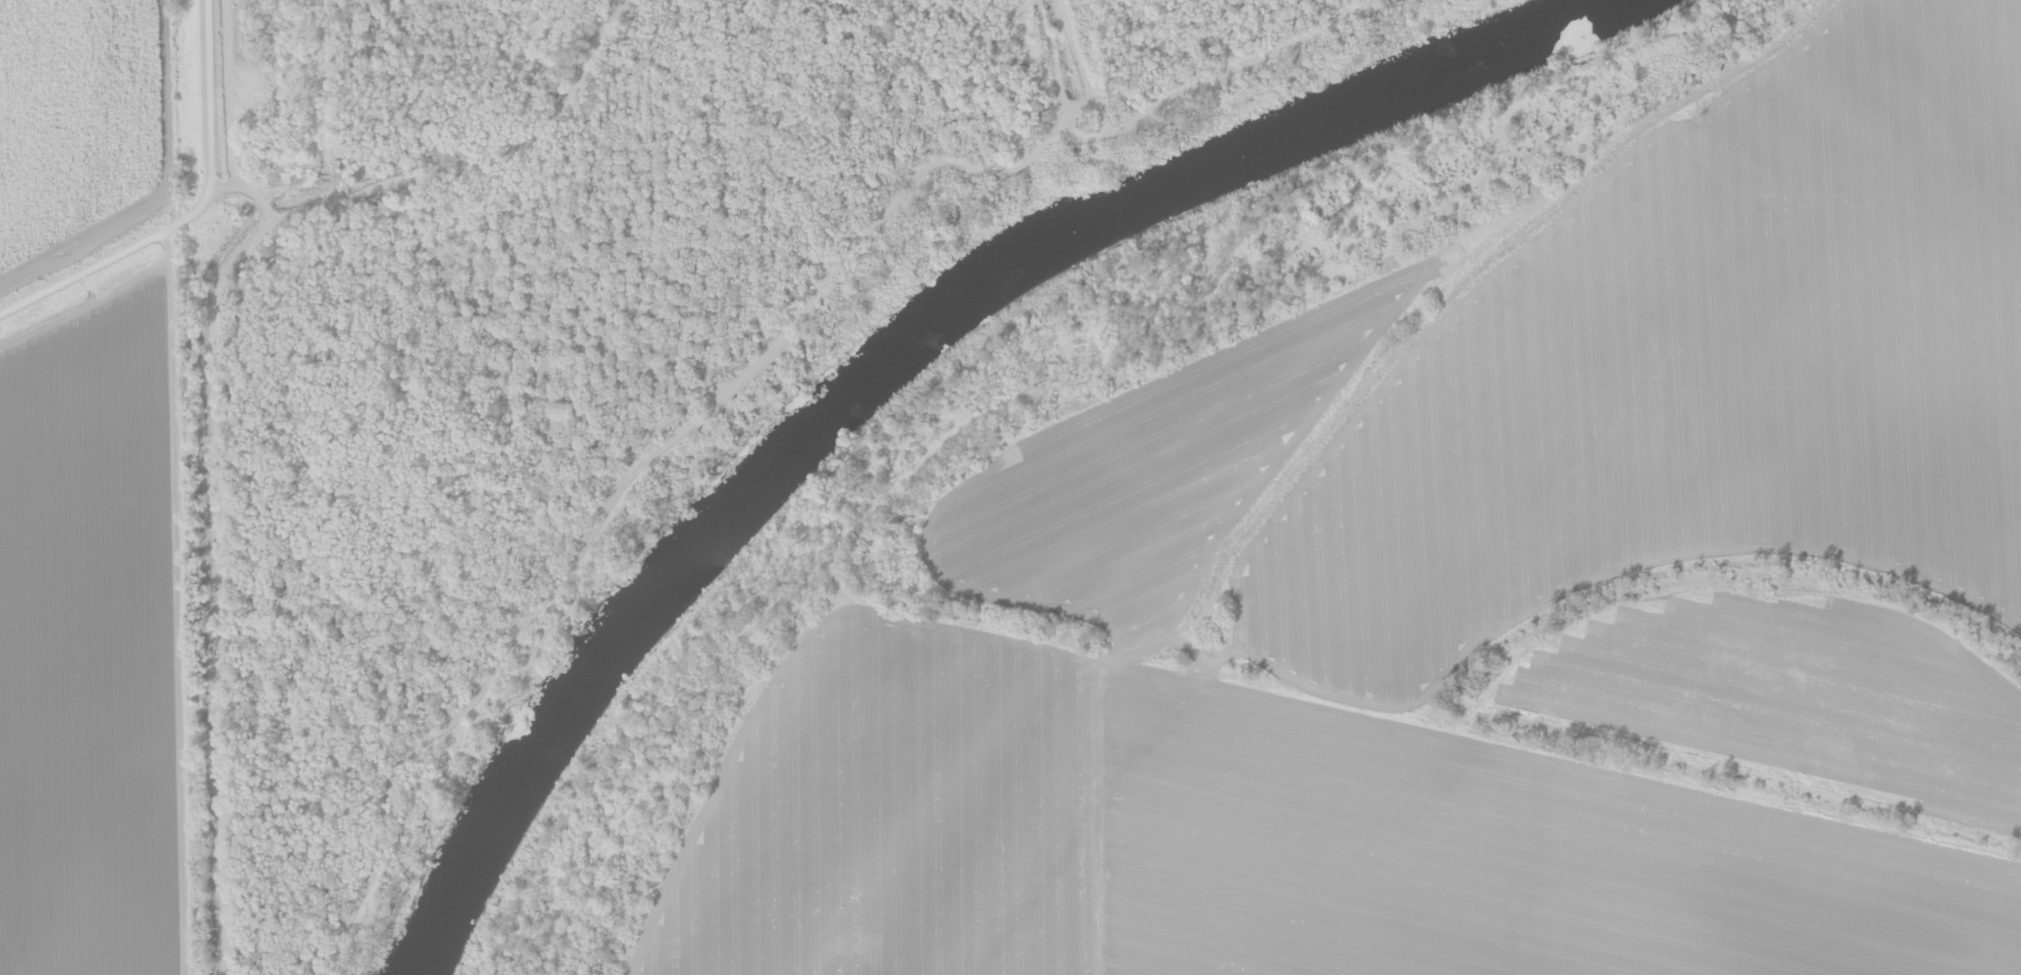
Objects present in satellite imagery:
road: (193, 215)
river: (893, 362)

